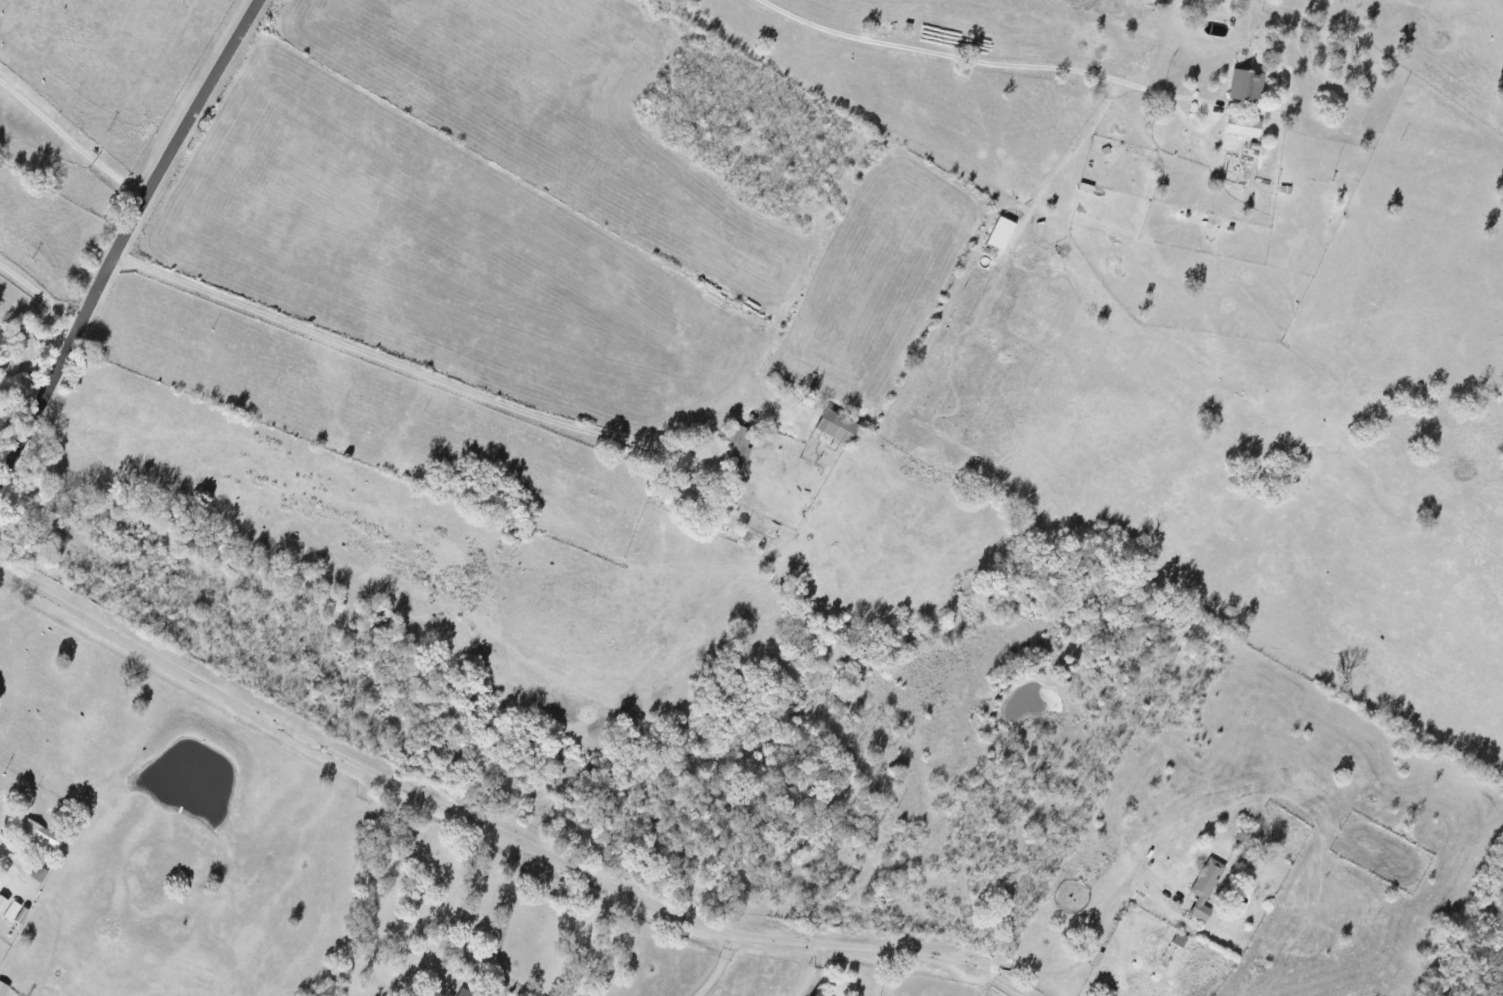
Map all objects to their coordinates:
road: (971, 59)
building: (1246, 85)
road: (1223, 121)
building: (1243, 126)
road: (69, 150)
building: (1001, 233)
road: (122, 239)
road: (41, 288)
road: (403, 377)
building: (837, 426)
building: (738, 448)
road: (497, 832)
building: (40, 834)
road: (11, 863)
building: (39, 873)
building: (1205, 887)
building: (3, 902)
road: (509, 909)
building: (15, 911)
building: (1180, 939)
road: (1089, 947)
road: (719, 966)
building: (3, 988)
building: (465, 992)

